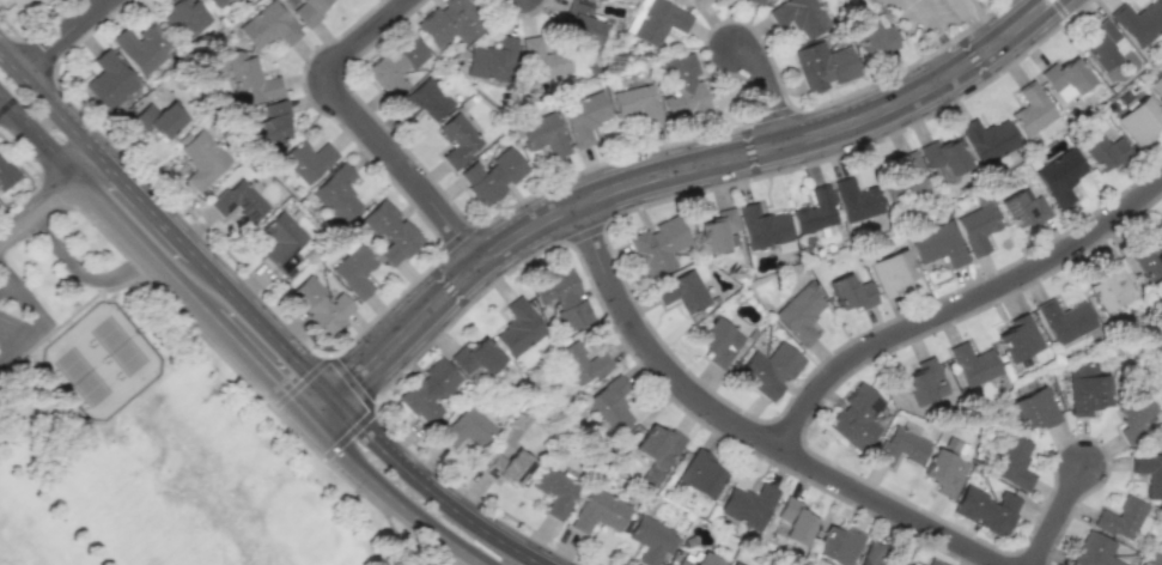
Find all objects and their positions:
building: (761, 0)
building: (214, 2)
building: (34, 4)
building: (696, 4)
building: (308, 11)
building: (184, 16)
building: (798, 16)
building: (450, 22)
building: (658, 22)
building: (1138, 22)
building: (578, 23)
road: (974, 24)
building: (267, 26)
road: (60, 35)
building: (872, 36)
road: (929, 37)
building: (142, 45)
building: (1102, 45)
building: (541, 59)
building: (491, 60)
building: (395, 65)
building: (822, 66)
building: (1064, 78)
building: (249, 79)
building: (109, 80)
road: (766, 84)
building: (682, 86)
building: (1156, 86)
building: (424, 101)
building: (637, 103)
building: (1030, 109)
building: (582, 116)
building: (158, 119)
building: (1137, 119)
building: (270, 121)
road: (359, 123)
building: (542, 134)
building: (987, 139)
building: (458, 140)
building: (1102, 152)
building: (200, 157)
building: (943, 158)
building: (306, 159)
building: (6, 174)
building: (492, 175)
road: (663, 175)
building: (1060, 177)
building: (906, 183)
building: (336, 194)
building: (237, 200)
building: (856, 200)
road: (103, 202)
road: (37, 207)
building: (1021, 208)
building: (815, 213)
road: (147, 227)
building: (763, 227)
building: (975, 227)
building: (717, 230)
building: (389, 232)
building: (280, 242)
building: (937, 244)
building: (658, 245)
building: (1148, 259)
road: (203, 266)
road: (5, 269)
building: (354, 271)
road: (80, 272)
building: (890, 272)
road: (5, 280)
building: (1107, 287)
building: (682, 291)
building: (850, 292)
building: (562, 298)
road: (956, 302)
building: (320, 305)
building: (799, 314)
parking lot: (19, 317)
road: (36, 320)
building: (1064, 321)
building: (518, 328)
building: (1017, 338)
building: (718, 342)
building: (475, 357)
building: (580, 363)
building: (973, 364)
road: (260, 365)
building: (768, 370)
building: (921, 382)
building: (1085, 389)
building: (427, 390)
building: (609, 405)
building: (1033, 408)
building: (856, 417)
building: (1130, 418)
park: (145, 425)
building: (467, 429)
road: (743, 433)
building: (657, 445)
building: (899, 446)
road: (349, 457)
building: (1011, 462)
building: (506, 463)
building: (943, 472)
building: (1148, 472)
building: (700, 474)
building: (555, 491)
park: (185, 494)
building: (747, 505)
building: (985, 509)
road: (1053, 510)
building: (598, 511)
building: (1119, 518)
building: (793, 521)
road: (474, 522)
road: (436, 530)
park: (24, 535)
building: (651, 539)
building: (836, 543)
building: (1094, 551)
road: (448, 554)
building: (1150, 558)
building: (696, 559)
building: (732, 563)
building: (932, 563)

